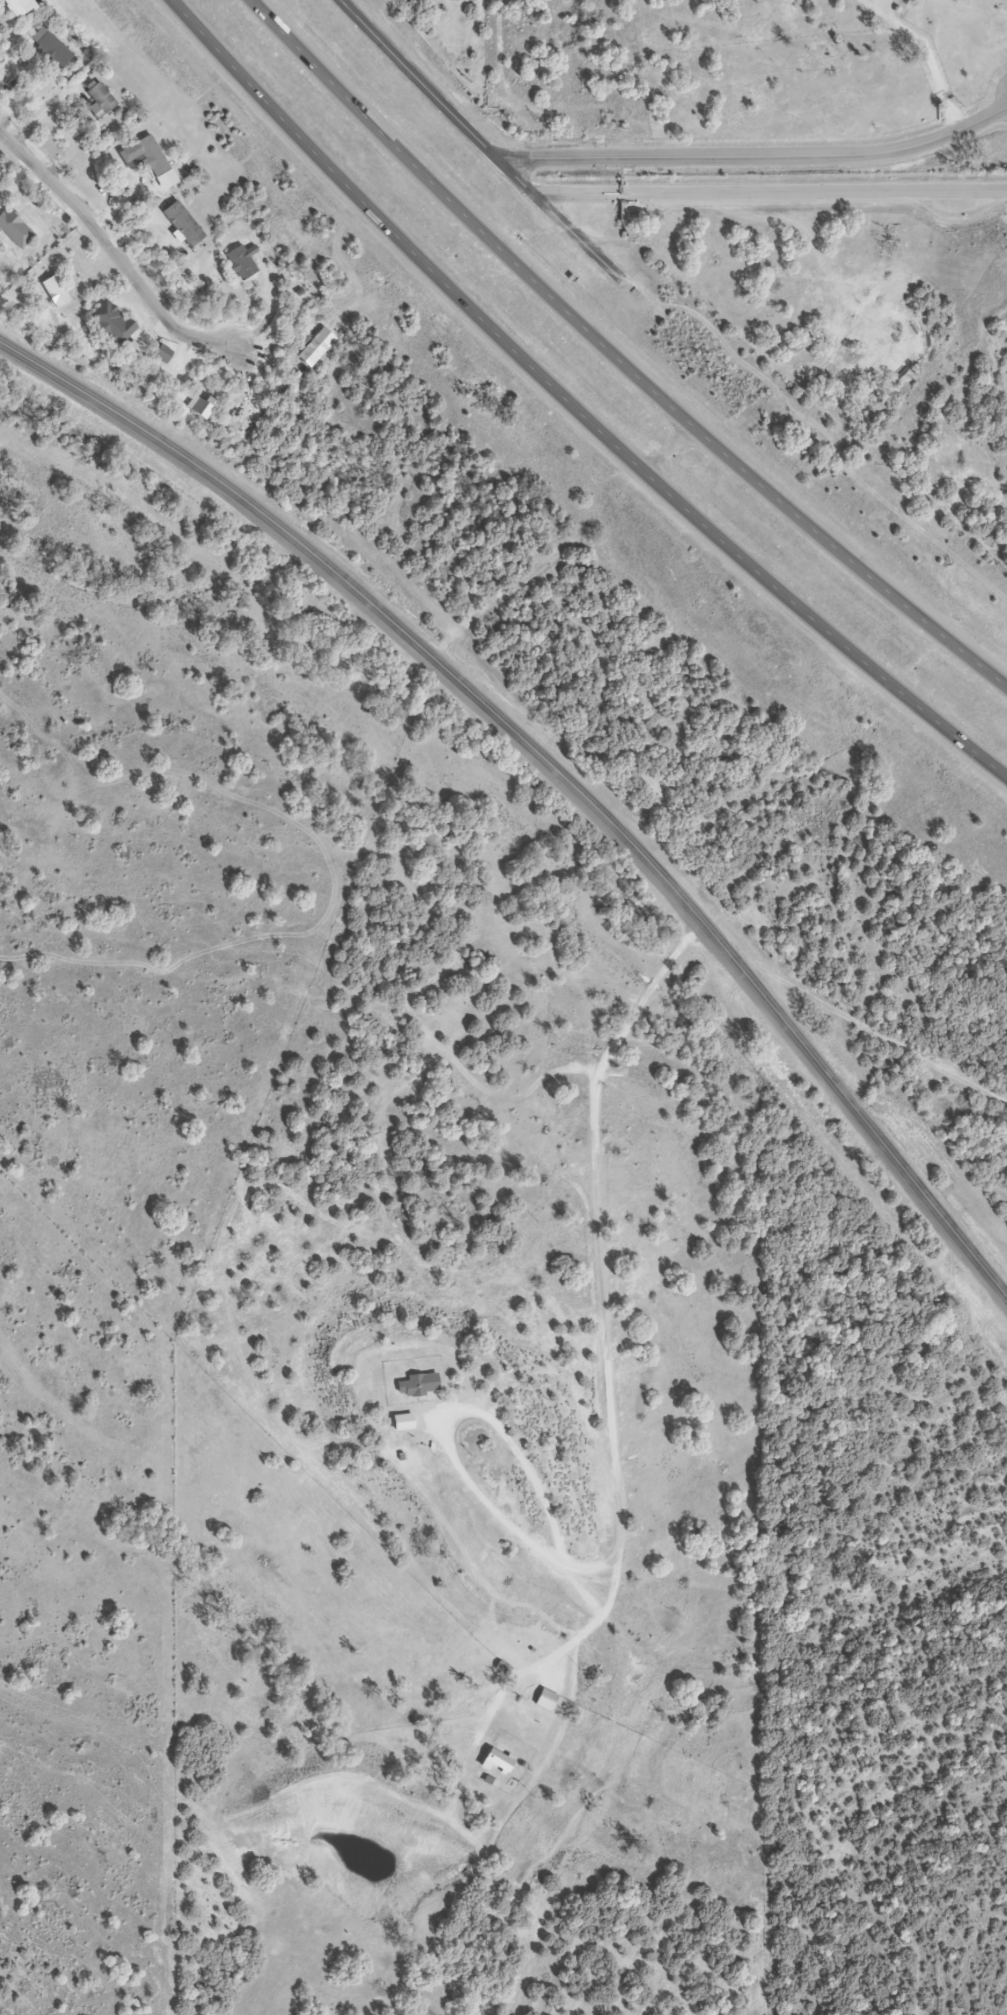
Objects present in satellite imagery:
building: (19, 7)
building: (55, 50)
building: (101, 100)
road: (478, 141)
building: (147, 155)
road: (758, 158)
road: (770, 193)
building: (185, 224)
building: (16, 229)
road: (113, 255)
building: (241, 263)
building: (56, 292)
building: (113, 322)
building: (164, 355)
road: (621, 357)
building: (201, 408)
road: (571, 412)
road: (553, 765)
building: (422, 1384)
building: (405, 1422)
road: (614, 1457)
building: (547, 1700)
building: (500, 1761)

